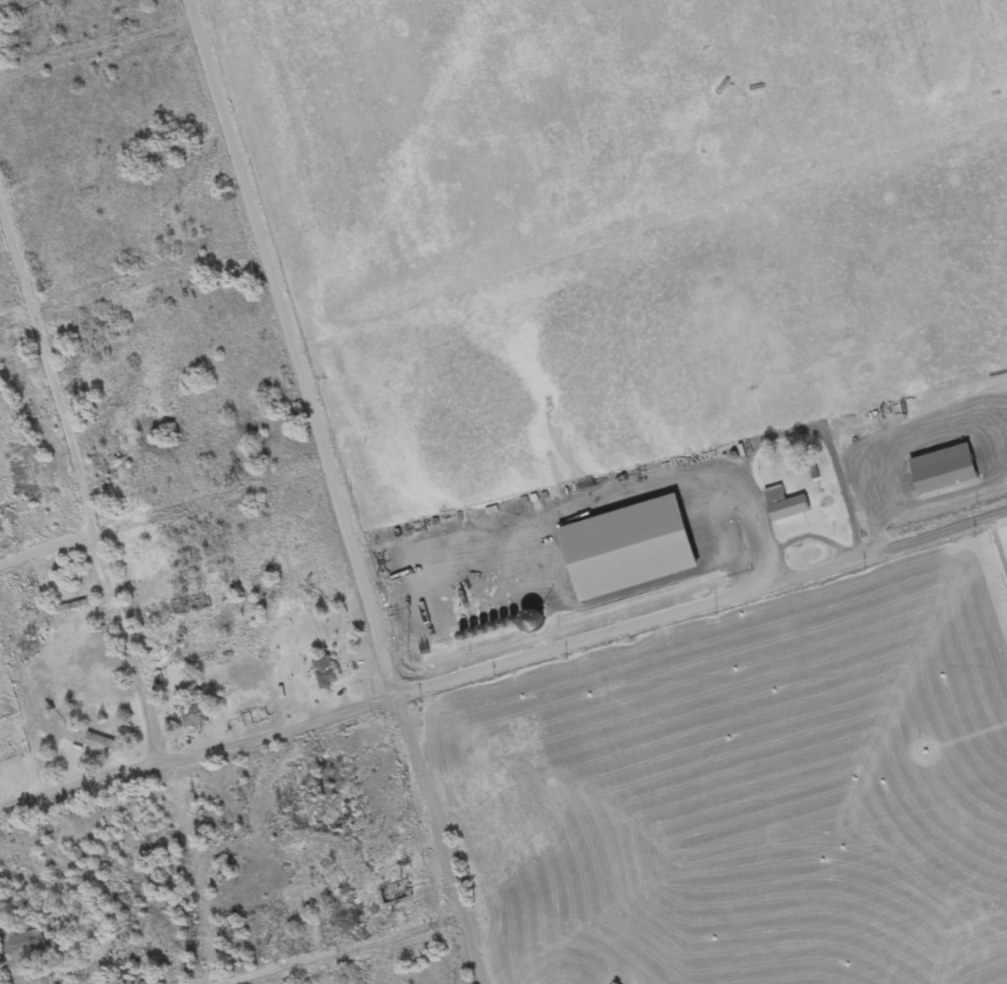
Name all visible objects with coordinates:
road: (102, 55)
building: (181, 150)
road: (133, 284)
road: (296, 350)
building: (943, 472)
road: (84, 485)
building: (785, 507)
road: (164, 518)
road: (701, 600)
building: (326, 674)
building: (195, 715)
building: (104, 743)
road: (199, 759)
road: (441, 841)
building: (402, 892)
building: (28, 945)
road: (351, 958)

